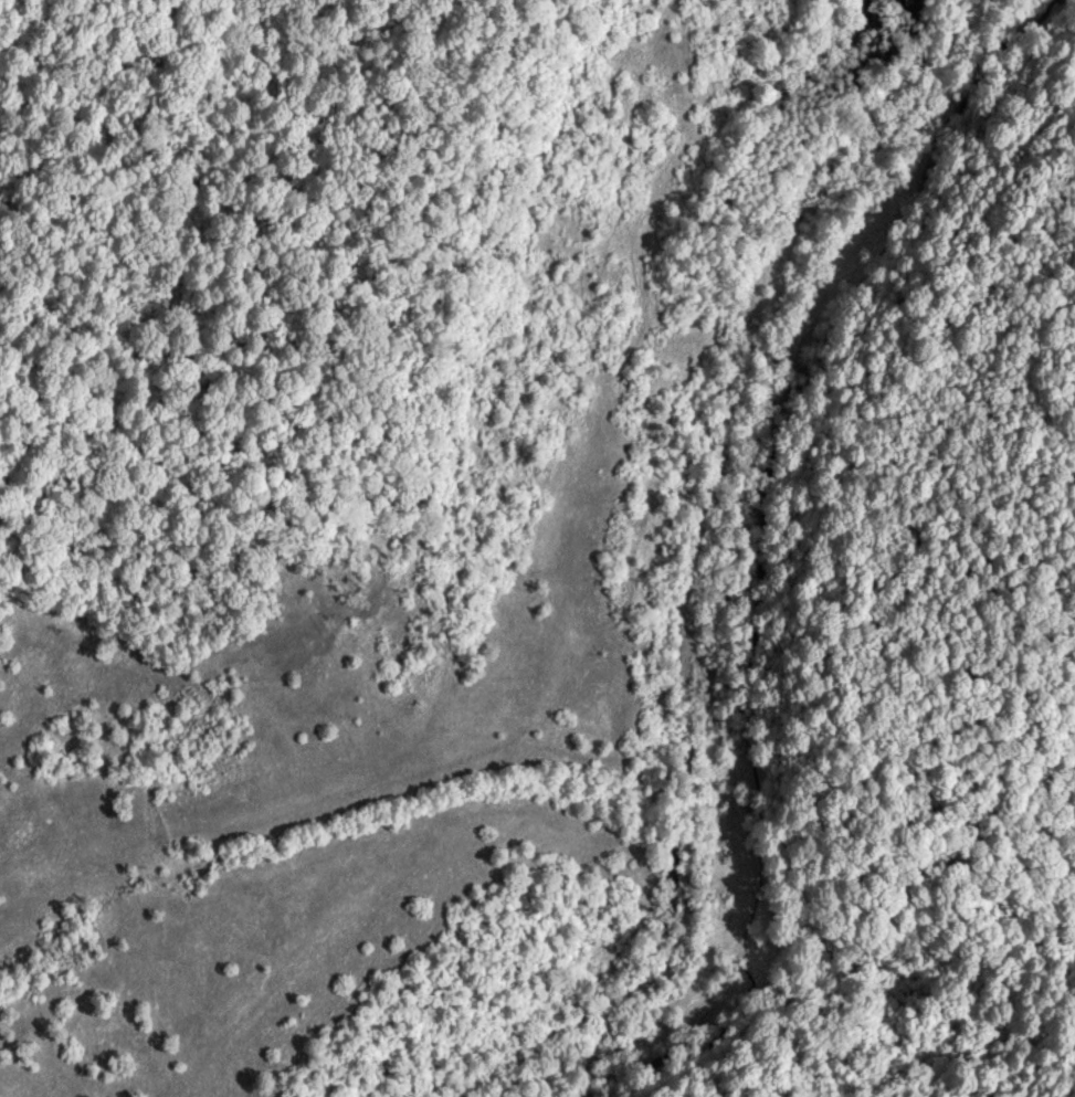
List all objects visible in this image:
road: (573, 552)

